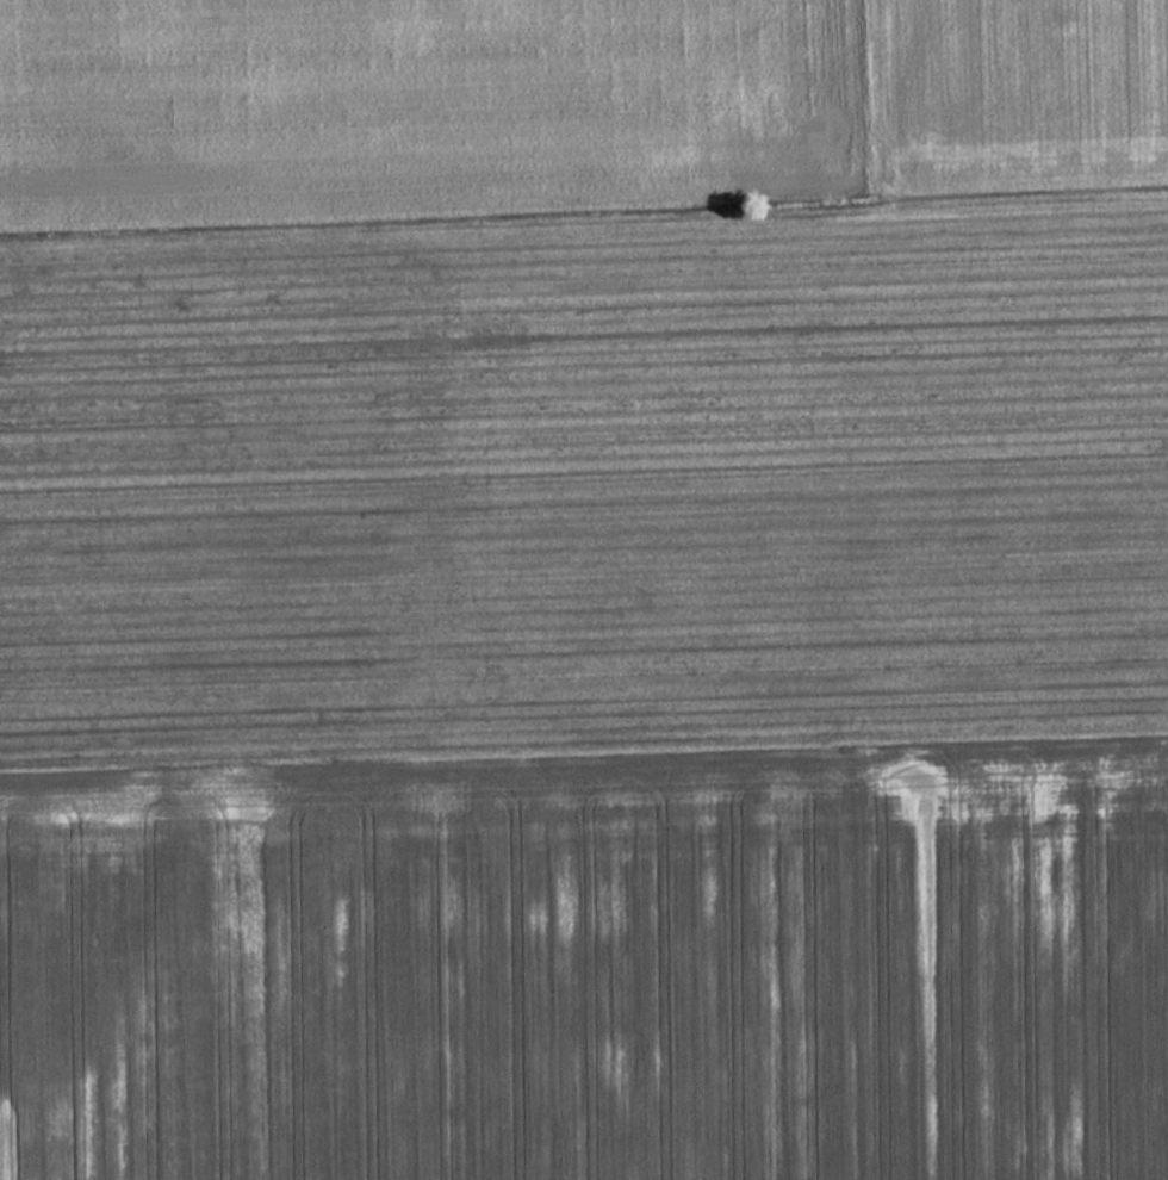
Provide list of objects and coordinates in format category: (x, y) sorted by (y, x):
crop: (1020, 92)
crop: (427, 108)
crop: (588, 695)

